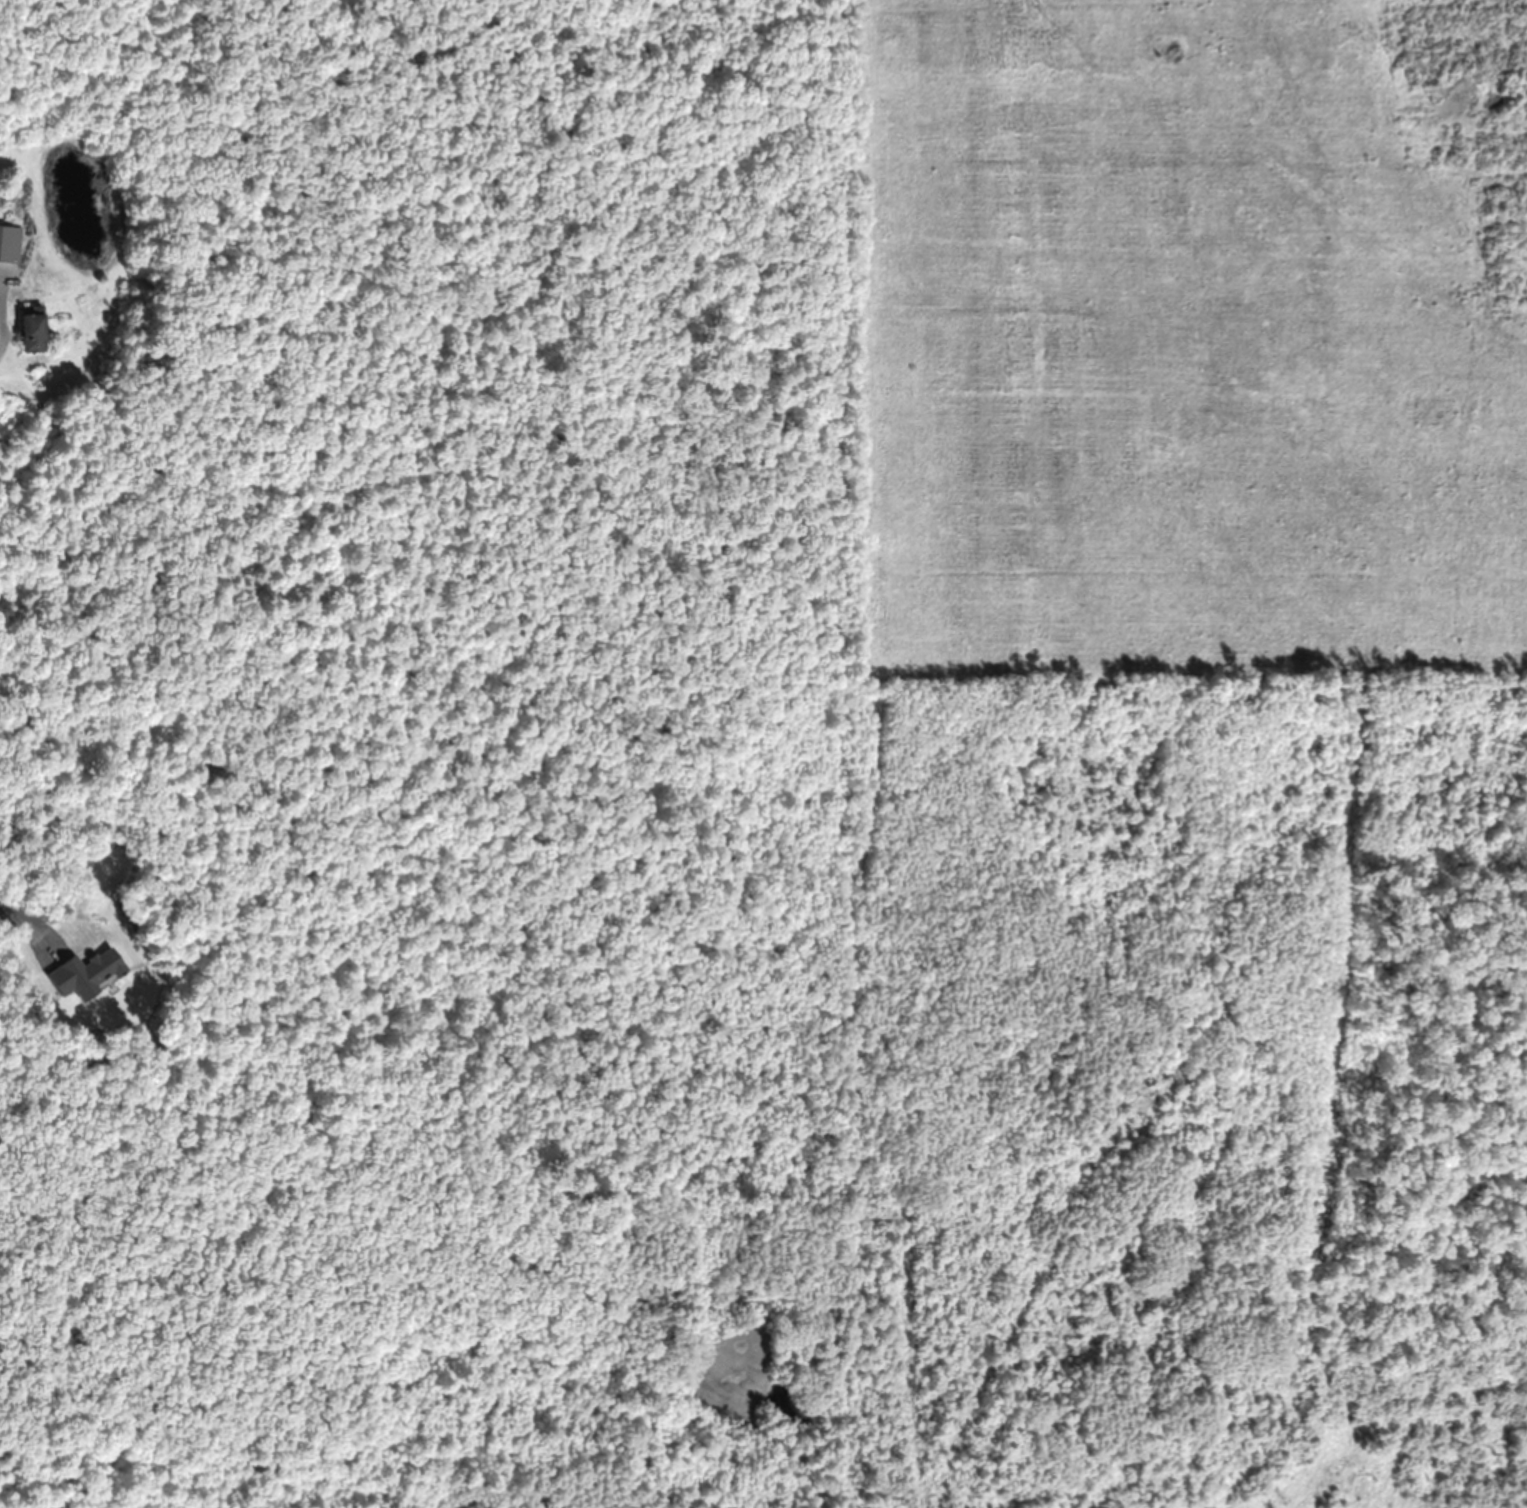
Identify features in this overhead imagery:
building: (9, 244)
building: (34, 331)

